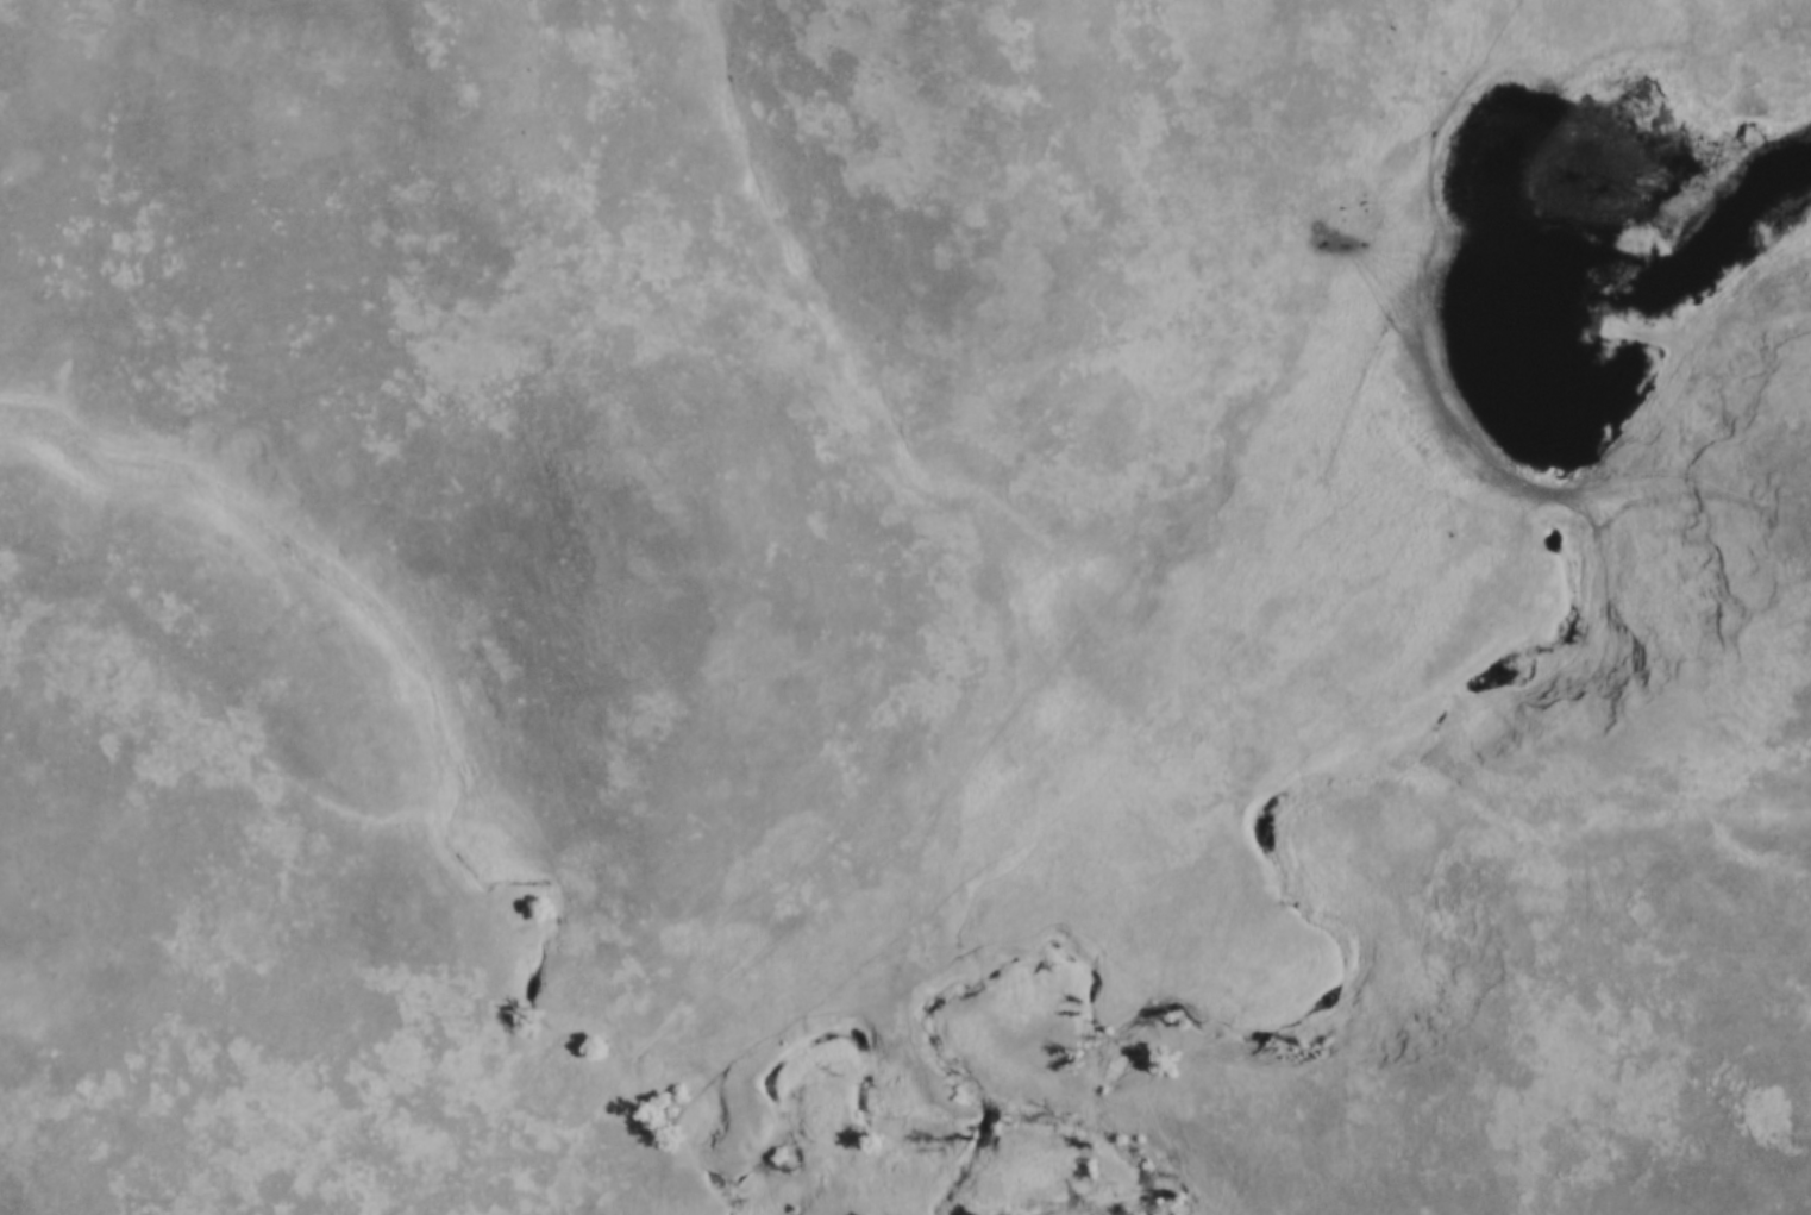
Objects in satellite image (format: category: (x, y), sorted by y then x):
dam: (1474, 444)

